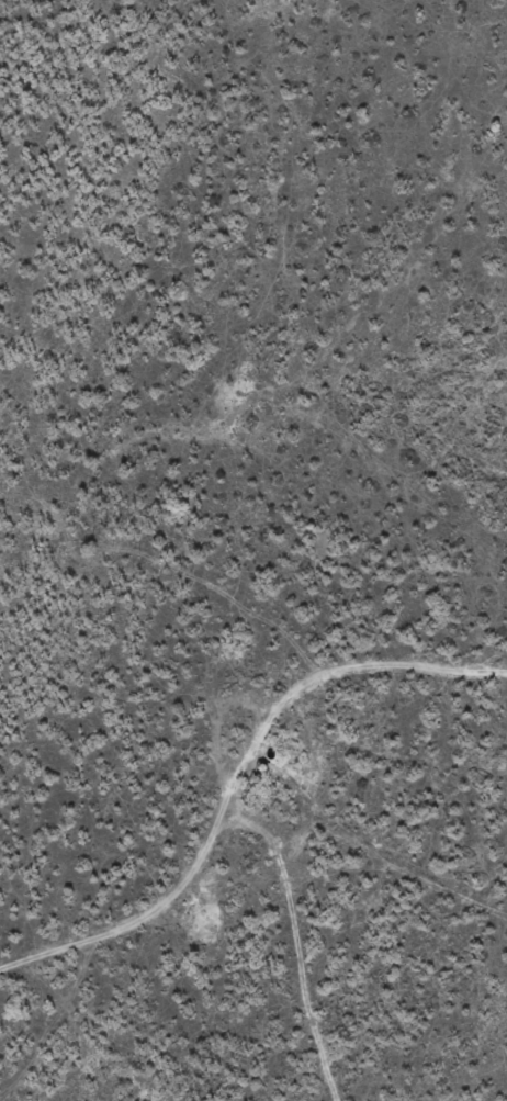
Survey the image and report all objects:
road: (297, 700)
road: (246, 890)

